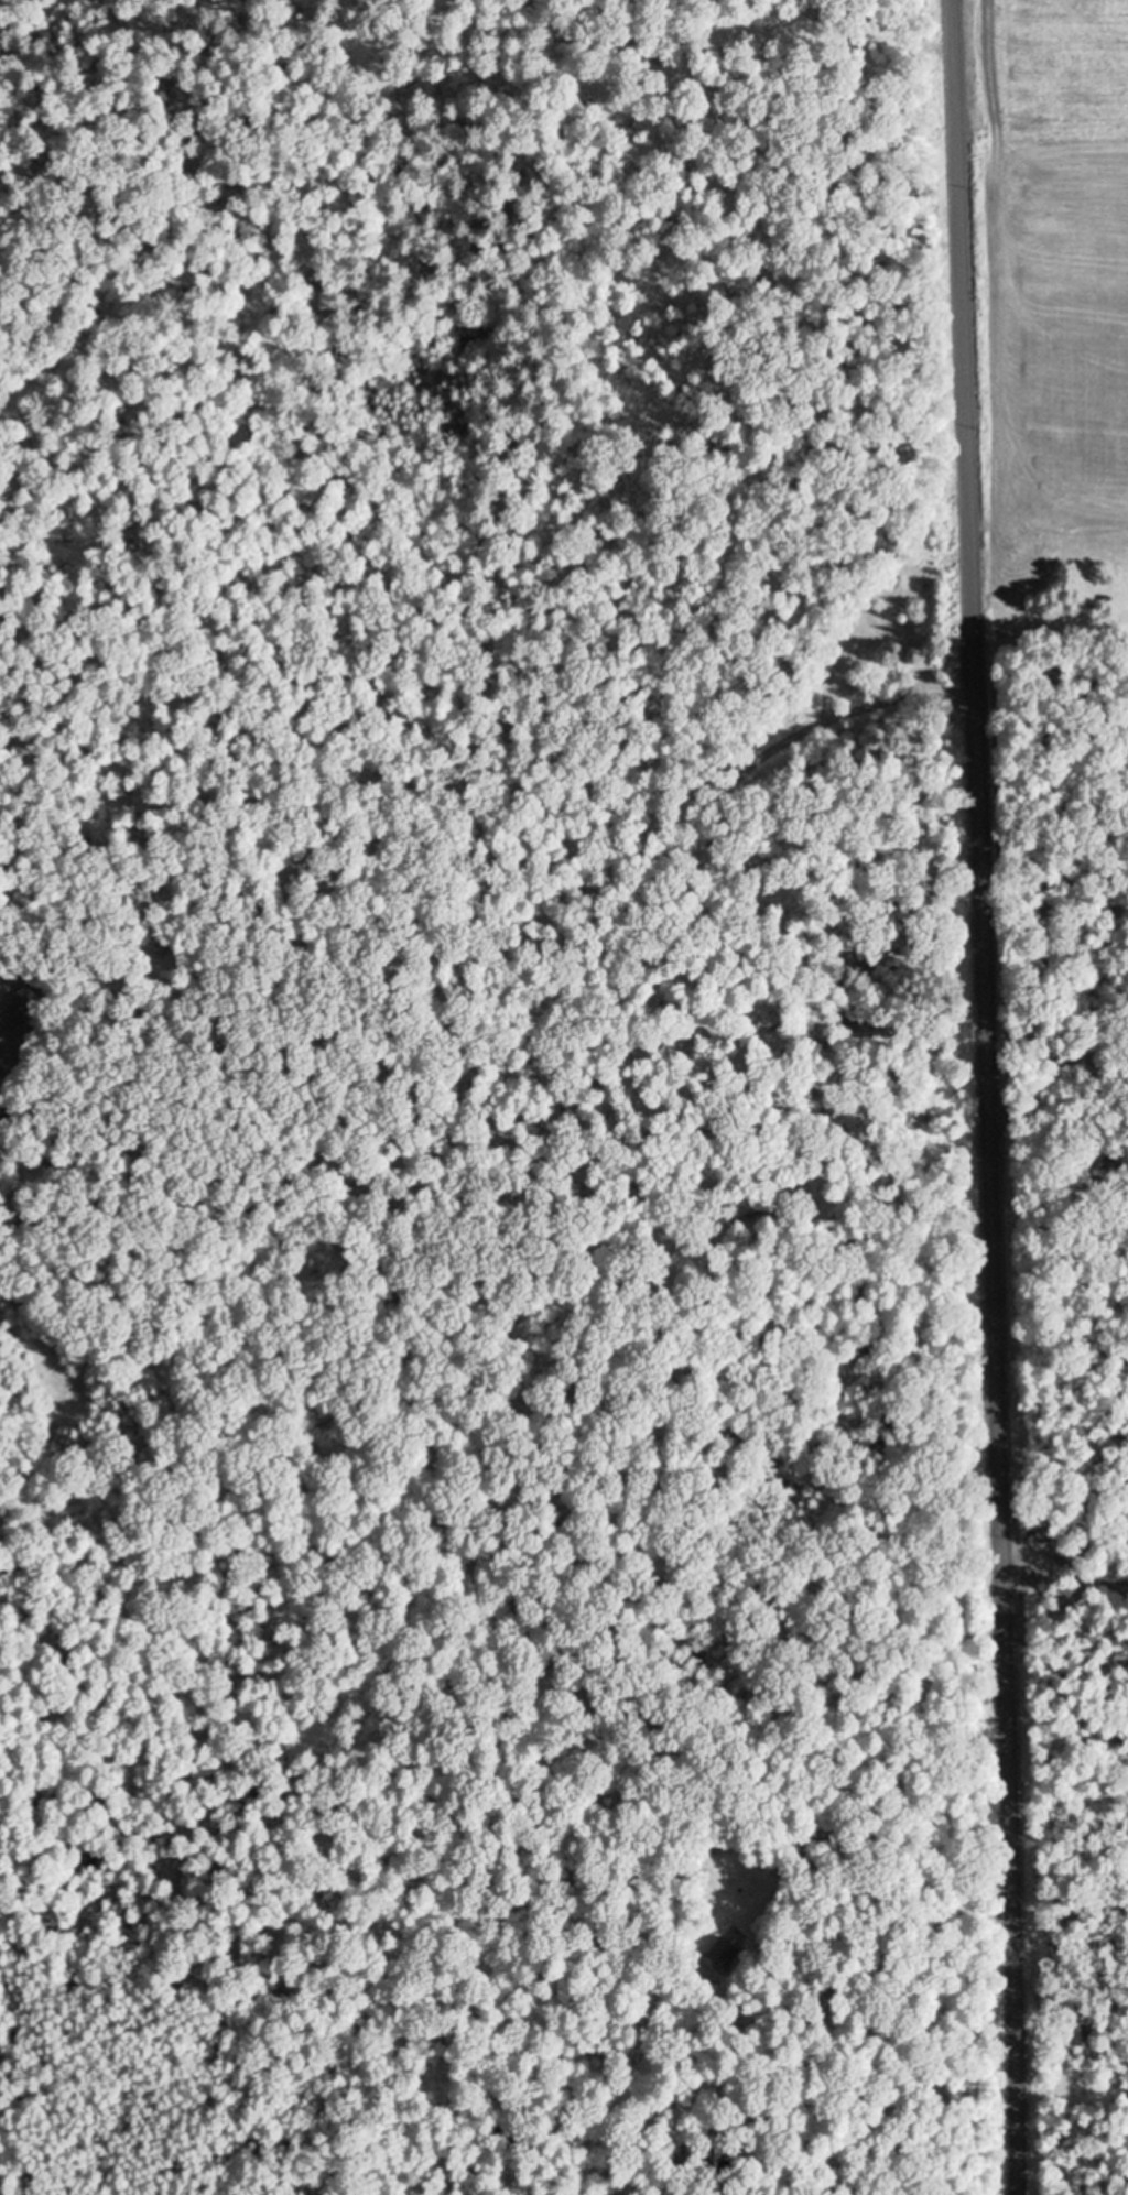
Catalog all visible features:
road: (1001, 1096)
road: (1066, 1578)

